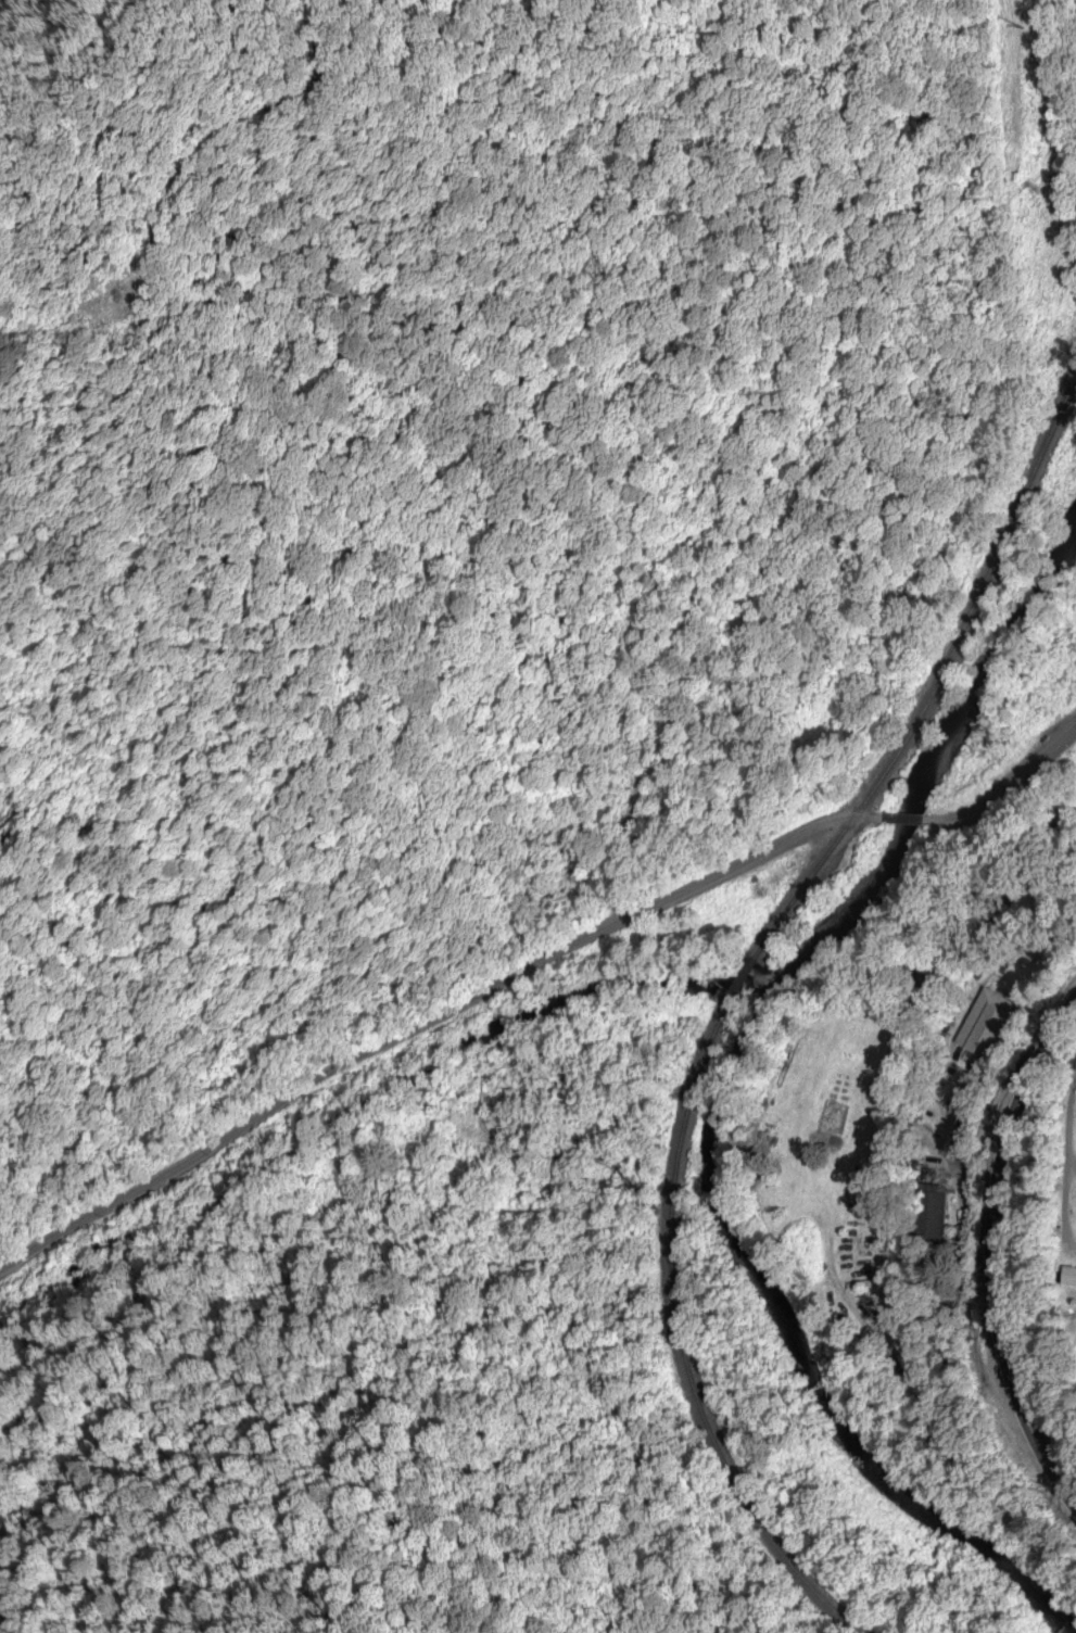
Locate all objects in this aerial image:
power tower: (1031, 192)
road: (1004, 786)
road: (900, 816)
railway: (736, 1000)
building: (983, 1021)
road: (429, 1022)
river: (768, 1096)
building: (933, 1214)
road: (996, 1249)
road: (1049, 1413)

